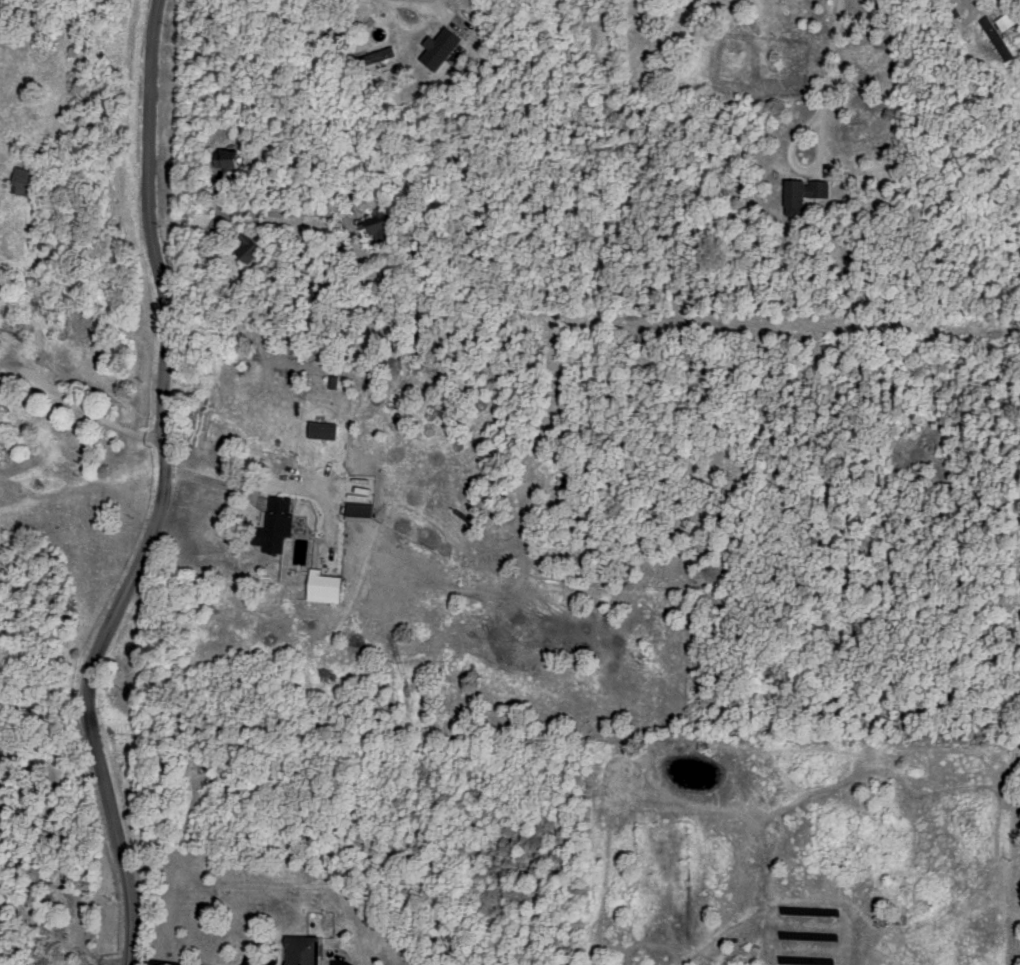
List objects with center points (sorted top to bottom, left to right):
road: (385, 1)
road: (416, 25)
building: (994, 36)
building: (434, 47)
building: (370, 55)
road: (822, 84)
building: (221, 158)
building: (799, 192)
building: (244, 248)
road: (200, 250)
road: (78, 402)
building: (325, 428)
road: (214, 485)
road: (159, 492)
building: (363, 510)
building: (279, 522)
building: (327, 584)
building: (376, 921)
road: (147, 963)

